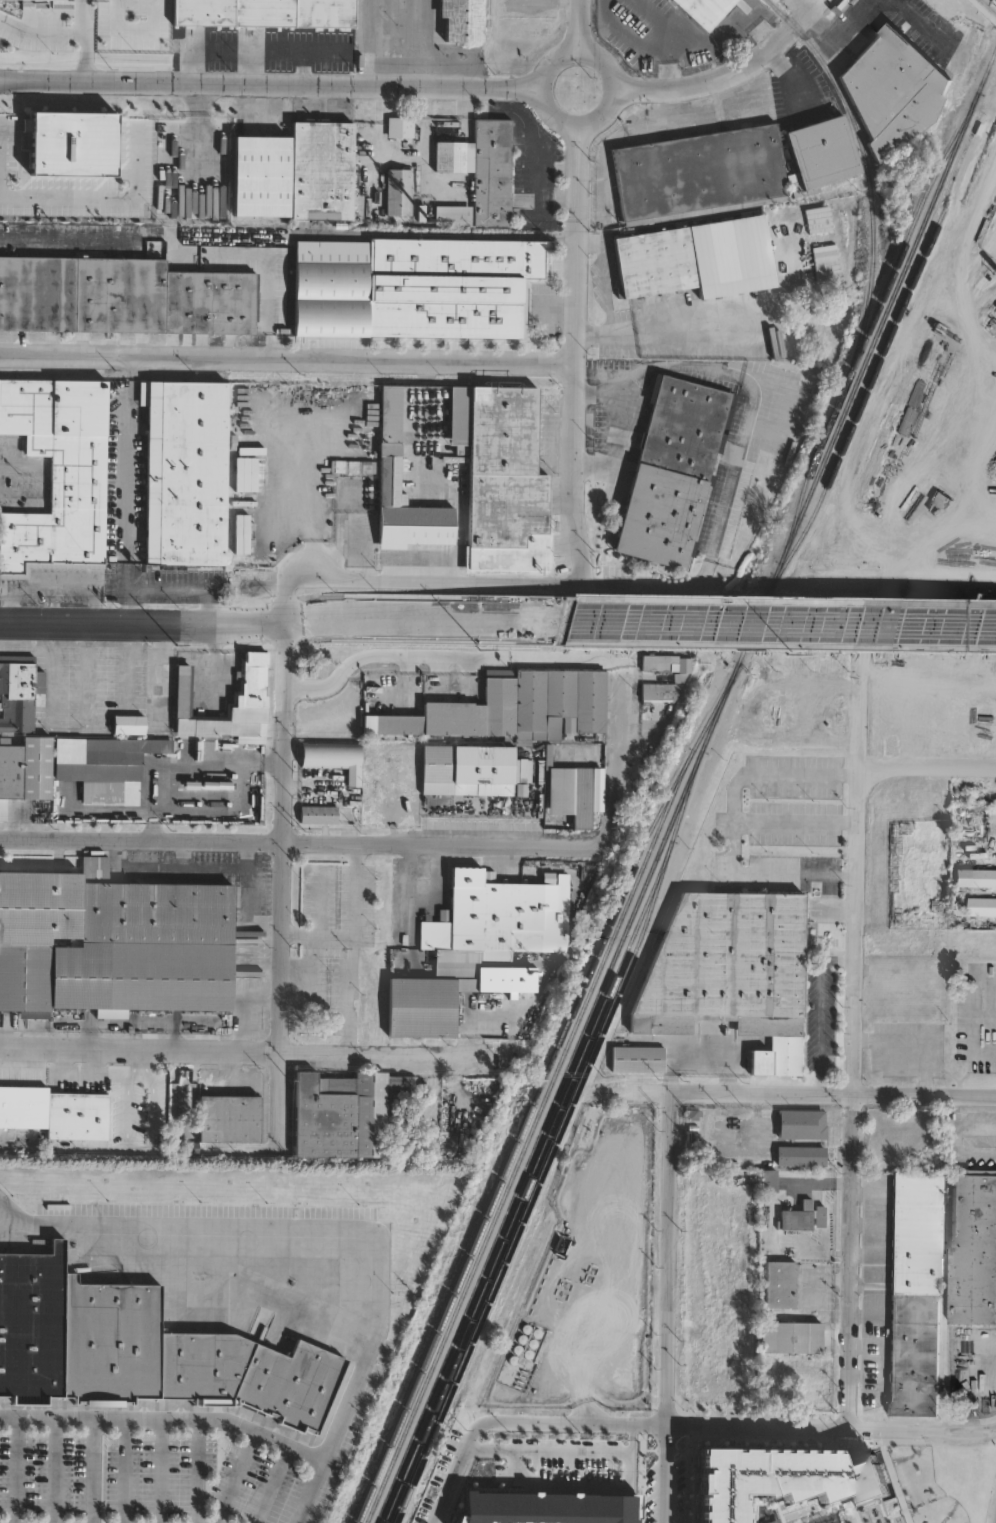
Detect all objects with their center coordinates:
road: (853, 0)
building: (702, 10)
building: (266, 13)
road: (80, 17)
building: (458, 19)
road: (919, 23)
road: (832, 24)
road: (577, 26)
road: (133, 28)
road: (61, 33)
road: (639, 40)
building: (405, 44)
building: (463, 51)
road: (562, 54)
road: (730, 76)
road: (786, 76)
road: (269, 80)
building: (884, 98)
building: (401, 128)
building: (74, 143)
building: (821, 153)
building: (323, 171)
building: (220, 173)
building: (473, 173)
building: (698, 173)
building: (262, 176)
building: (400, 192)
road: (103, 197)
building: (817, 219)
road: (436, 233)
road: (86, 237)
road: (592, 243)
building: (694, 259)
road: (270, 281)
road: (603, 282)
building: (411, 295)
building: (124, 297)
railway: (869, 322)
road: (597, 327)
road: (574, 354)
road: (286, 358)
building: (386, 411)
road: (617, 445)
building: (56, 470)
building: (187, 474)
building: (670, 474)
building: (501, 482)
road: (123, 489)
road: (299, 497)
building: (408, 510)
road: (180, 588)
road: (667, 589)
road: (387, 620)
road: (102, 622)
road: (783, 624)
road: (446, 655)
building: (654, 670)
building: (680, 676)
building: (19, 692)
building: (648, 698)
building: (512, 707)
building: (247, 710)
building: (130, 725)
road: (617, 744)
building: (334, 758)
building: (102, 764)
road: (182, 766)
road: (928, 768)
building: (465, 770)
building: (26, 772)
building: (520, 777)
railway: (686, 787)
building: (569, 794)
building: (368, 802)
building: (320, 815)
road: (796, 822)
road: (732, 825)
road: (307, 843)
road: (212, 870)
building: (976, 878)
road: (282, 888)
road: (420, 898)
road: (255, 906)
building: (984, 907)
road: (842, 908)
building: (503, 913)
building: (109, 941)
road: (349, 945)
building: (730, 971)
building: (929, 976)
building: (444, 994)
road: (819, 1008)
road: (265, 1044)
building: (637, 1059)
railway: (540, 1089)
road: (130, 1091)
building: (118, 1092)
road: (825, 1093)
road: (855, 1101)
building: (343, 1109)
building: (53, 1111)
building: (226, 1115)
building: (150, 1121)
building: (802, 1125)
building: (194, 1147)
building: (802, 1156)
building: (770, 1181)
building: (800, 1217)
building: (974, 1247)
building: (781, 1284)
building: (917, 1294)
road: (668, 1307)
road: (380, 1321)
building: (792, 1337)
building: (137, 1346)
road: (741, 1427)
road: (629, 1440)
road: (626, 1464)
road: (458, 1468)
road: (14, 1470)
road: (52, 1470)
road: (90, 1470)
road: (122, 1470)
road: (158, 1470)
road: (195, 1471)
road: (234, 1477)
building: (785, 1478)
road: (270, 1484)
road: (308, 1491)
building: (957, 1492)
building: (545, 1506)

